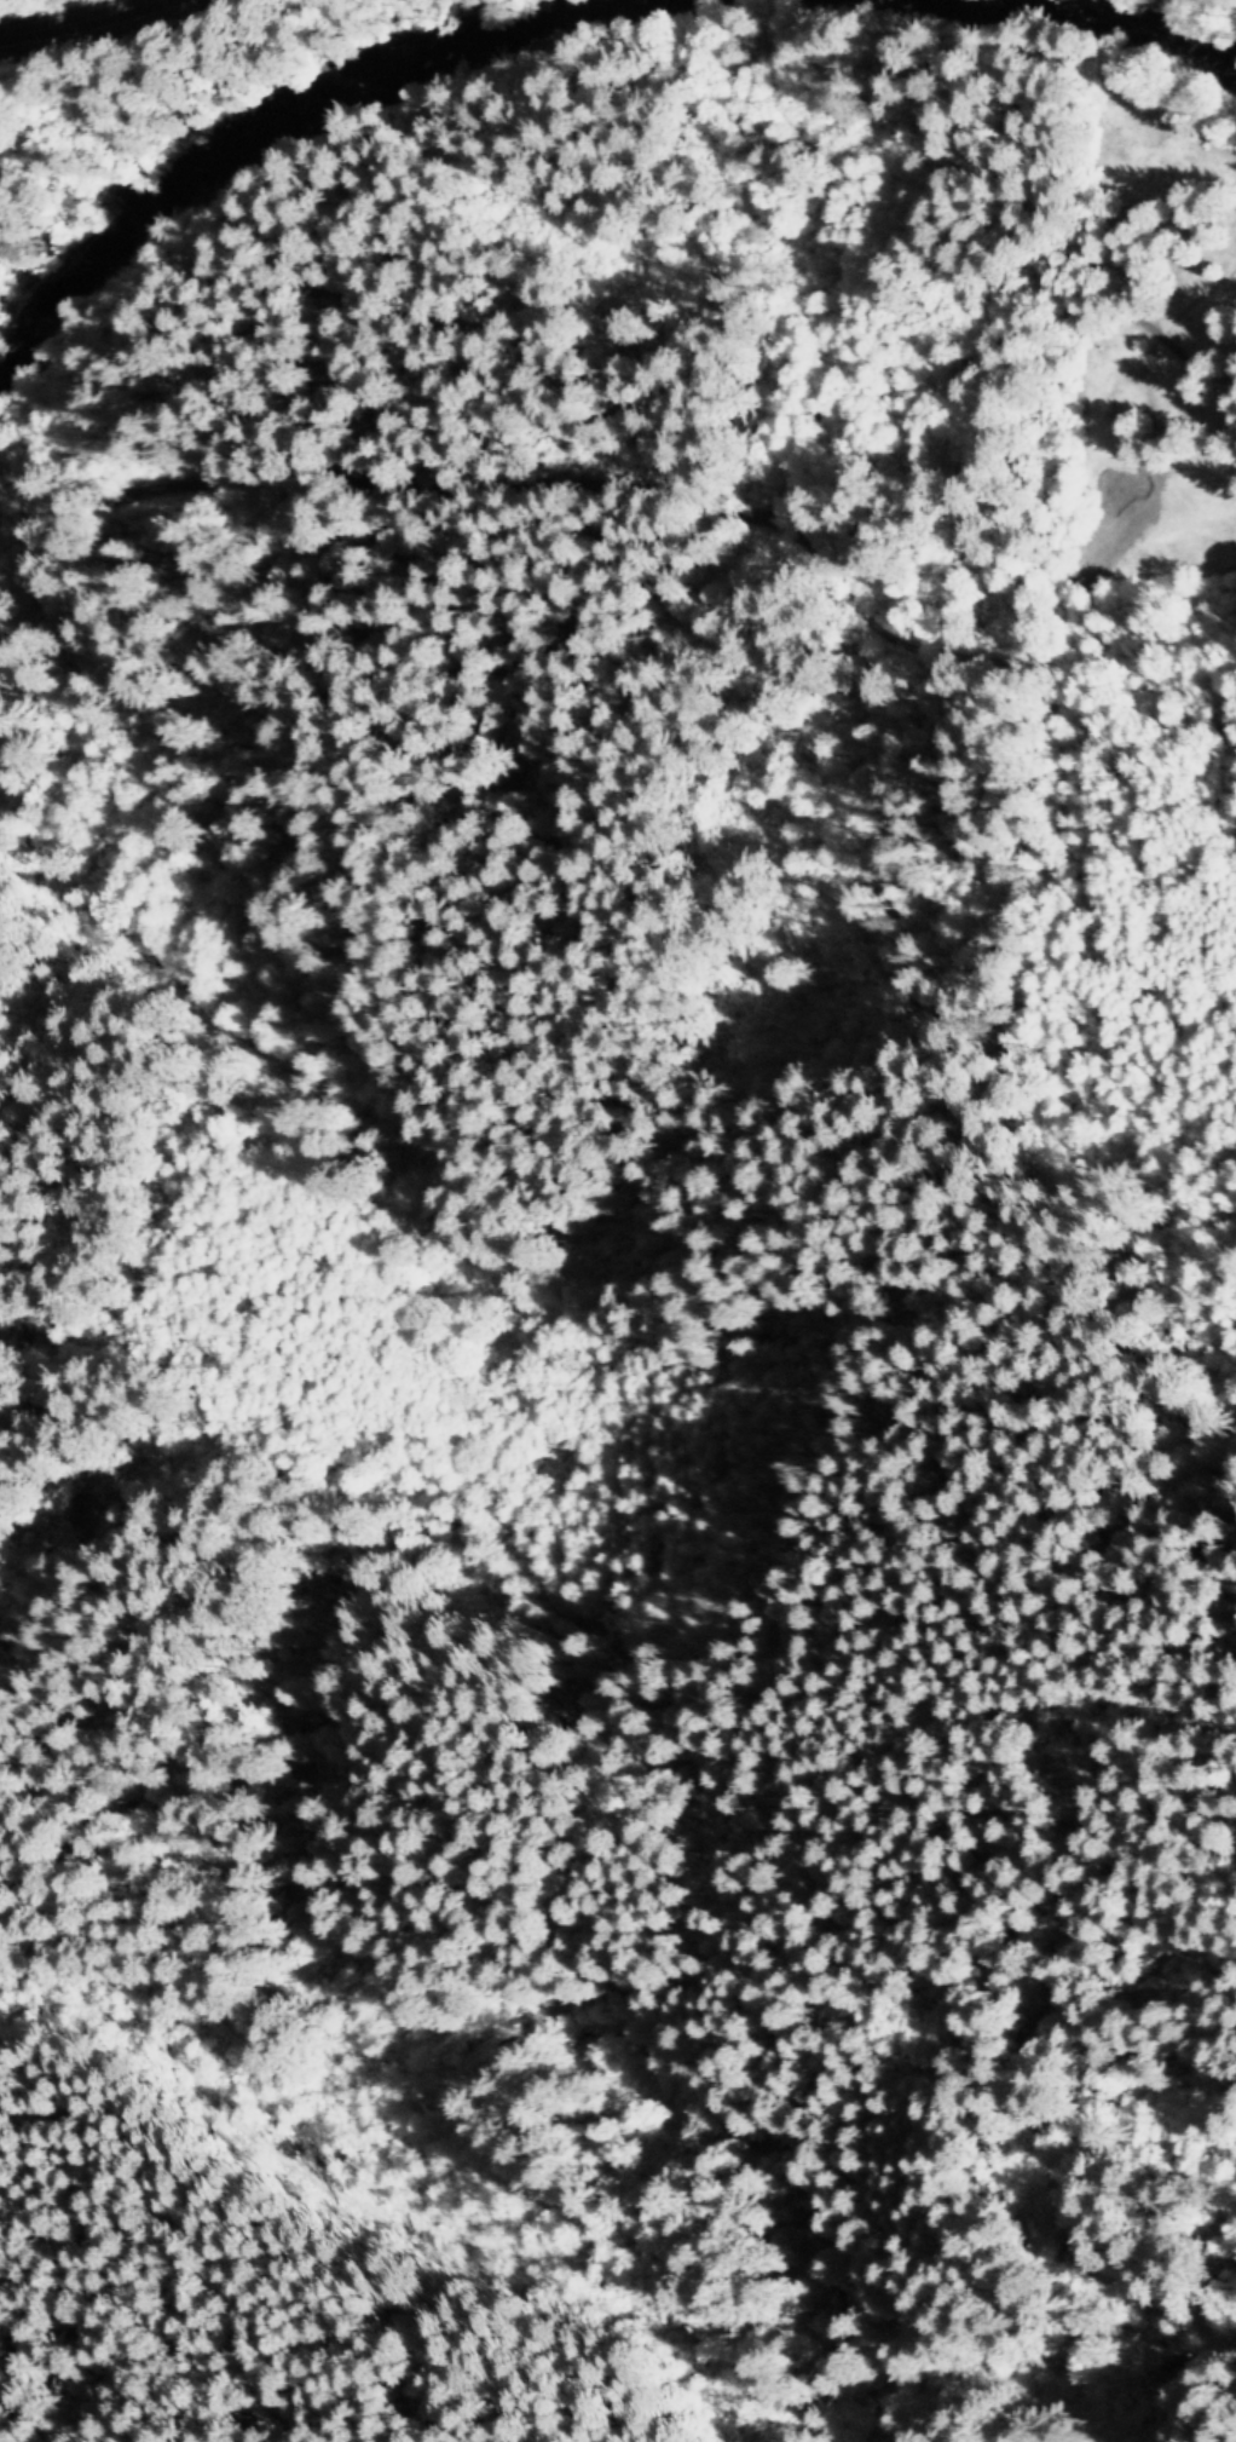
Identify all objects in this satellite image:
road: (65, 17)
river: (1148, 30)
parking lot: (60, 35)
river: (404, 74)
road: (983, 391)
road: (616, 518)
road: (89, 1325)
road: (134, 1524)
road: (1055, 2231)
road: (363, 2233)

